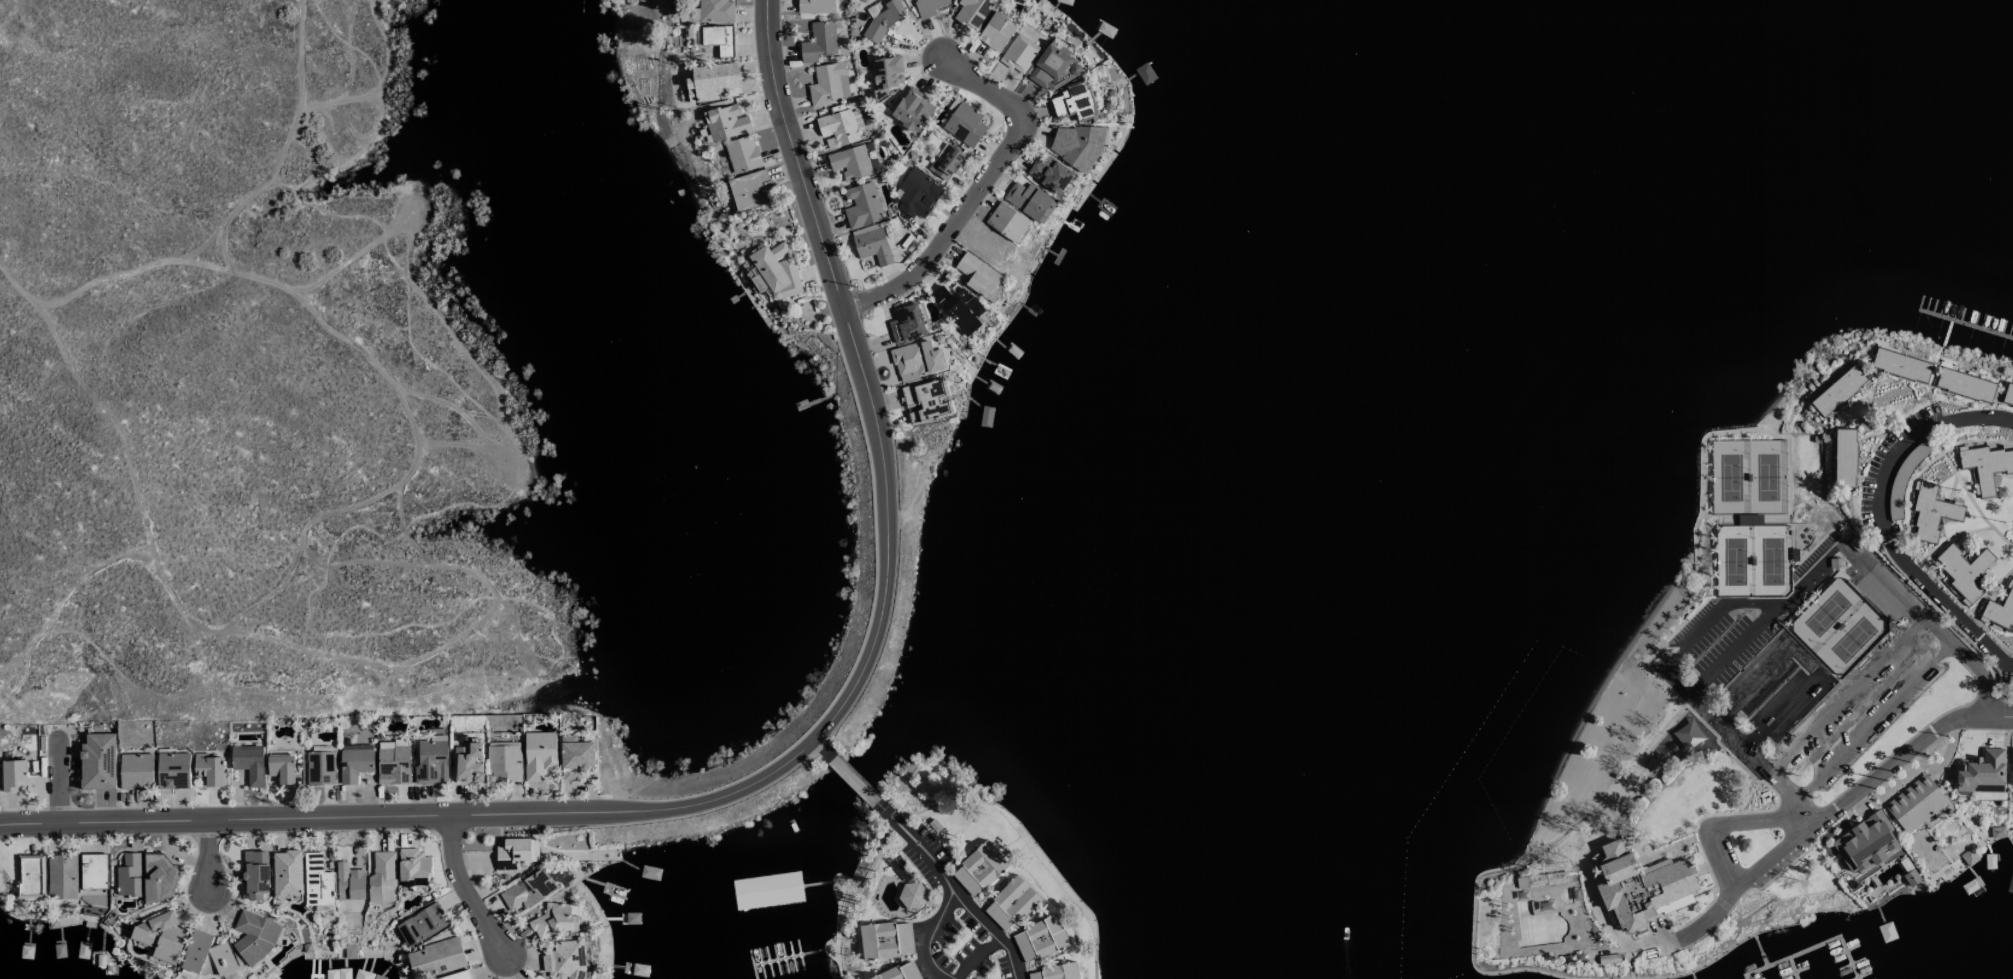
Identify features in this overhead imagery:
building: (815, 6)
building: (929, 7)
road: (8, 9)
building: (716, 10)
building: (974, 13)
building: (882, 20)
building: (996, 31)
building: (718, 39)
building: (818, 42)
building: (1019, 53)
road: (353, 56)
building: (1053, 67)
road: (382, 75)
building: (886, 75)
building: (711, 82)
building: (827, 84)
building: (1074, 102)
building: (912, 110)
building: (725, 122)
building: (964, 125)
building: (837, 127)
building: (1078, 145)
building: (742, 154)
building: (850, 162)
building: (948, 163)
building: (1050, 173)
road: (980, 186)
building: (750, 190)
building: (916, 194)
building: (1030, 201)
building: (862, 206)
building: (1006, 222)
building: (775, 271)
building: (979, 276)
road: (415, 283)
road: (10, 297)
building: (959, 309)
building: (907, 324)
building: (916, 361)
building: (1900, 365)
building: (1964, 386)
building: (1837, 391)
building: (2007, 396)
building: (926, 402)
road: (102, 408)
road: (458, 413)
road: (472, 449)
building: (1843, 458)
road: (415, 461)
building: (1985, 465)
building: (1931, 513)
road: (1881, 517)
park: (1750, 518)
road: (407, 530)
road: (1847, 546)
road: (325, 550)
building: (1964, 570)
road: (312, 610)
building: (2000, 610)
road: (491, 613)
park: (1839, 626)
road: (1739, 652)
road: (1767, 669)
road: (13, 671)
parking lot: (1824, 676)
road: (1847, 695)
road: (8, 699)
road: (1780, 710)
road: (46, 712)
road: (1874, 720)
park: (1599, 730)
building: (1688, 735)
road: (1743, 745)
building: (539, 754)
road: (789, 754)
building: (577, 755)
building: (431, 761)
building: (98, 762)
building: (355, 762)
building: (393, 762)
building: (504, 762)
building: (248, 763)
building: (469, 763)
building: (281, 768)
building: (320, 768)
building: (2011, 768)
building: (209, 769)
building: (172, 770)
building: (136, 771)
building: (1980, 771)
building: (13, 775)
road: (72, 775)
building: (570, 775)
road: (852, 776)
building: (1915, 803)
road: (1741, 812)
road: (1830, 814)
road: (1724, 821)
building: (1865, 843)
road: (1665, 850)
building: (516, 853)
road: (922, 853)
road: (209, 854)
building: (1968, 857)
road: (1516, 864)
building: (413, 867)
road: (1563, 868)
building: (979, 869)
park: (16, 871)
building: (93, 871)
road: (1778, 873)
building: (154, 874)
building: (255, 874)
building: (286, 874)
building: (129, 875)
building: (29, 876)
building: (61, 877)
building: (382, 878)
building: (1546, 879)
building: (317, 881)
building: (349, 882)
road: (1588, 884)
building: (1642, 886)
road: (463, 889)
building: (527, 891)
building: (795, 892)
road: (958, 894)
building: (912, 896)
building: (1011, 904)
building: (324, 909)
road: (1749, 914)
building: (556, 920)
building: (421, 925)
building: (254, 936)
building: (160, 937)
building: (1039, 939)
building: (884, 940)
pier: (1844, 949)
pier: (1759, 950)
pier: (1790, 955)
building: (207, 956)
pier: (1848, 957)
building: (436, 958)
building: (566, 959)
road: (1711, 960)
road: (1629, 961)
pier: (1851, 963)
pier: (1793, 967)
pier: (1794, 971)
building: (898, 972)
building: (1055, 972)
building: (458, 974)
pier: (1860, 974)
pier: (1691, 975)
pier: (1742, 977)

